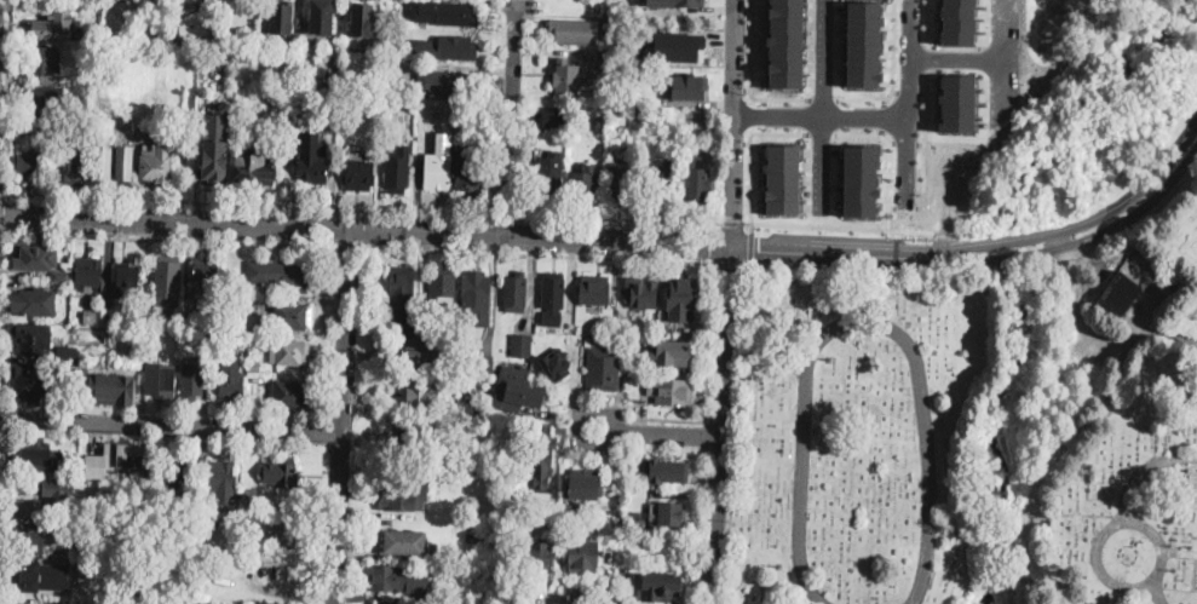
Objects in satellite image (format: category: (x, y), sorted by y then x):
building: (677, 2)
building: (341, 12)
building: (456, 15)
building: (321, 17)
building: (281, 18)
building: (362, 18)
building: (119, 19)
building: (232, 22)
building: (52, 27)
building: (574, 27)
building: (254, 36)
building: (784, 42)
building: (863, 42)
building: (454, 48)
building: (677, 52)
building: (614, 58)
building: (42, 59)
road: (956, 59)
road: (1003, 65)
building: (638, 68)
road: (892, 75)
building: (565, 76)
road: (750, 77)
building: (450, 85)
building: (387, 86)
building: (672, 87)
building: (42, 98)
building: (303, 98)
building: (386, 98)
road: (824, 98)
road: (5, 99)
road: (885, 99)
road: (907, 99)
road: (823, 104)
building: (638, 110)
road: (759, 113)
building: (556, 115)
road: (818, 116)
road: (884, 116)
road: (510, 119)
road: (731, 122)
building: (600, 123)
road: (759, 130)
road: (881, 132)
road: (823, 133)
building: (290, 134)
building: (615, 145)
building: (215, 146)
road: (890, 149)
road: (750, 153)
building: (312, 160)
building: (29, 163)
building: (103, 163)
building: (123, 163)
building: (71, 166)
building: (155, 166)
building: (253, 167)
building: (397, 171)
building: (437, 172)
building: (468, 172)
building: (548, 173)
building: (358, 176)
building: (782, 178)
building: (859, 179)
building: (621, 182)
building: (658, 182)
building: (583, 183)
building: (696, 183)
road: (249, 201)
road: (1140, 202)
road: (506, 213)
road: (618, 217)
road: (731, 220)
road: (813, 224)
road: (364, 230)
road: (167, 236)
road: (350, 246)
road: (750, 248)
road: (537, 253)
road: (897, 255)
road: (730, 263)
building: (34, 265)
road: (990, 266)
building: (88, 272)
building: (62, 275)
building: (205, 275)
building: (275, 275)
building: (126, 281)
building: (167, 281)
building: (443, 286)
building: (474, 287)
building: (594, 289)
building: (640, 292)
building: (514, 293)
building: (136, 297)
building: (402, 298)
building: (553, 298)
building: (681, 298)
building: (1117, 298)
building: (34, 301)
road: (1078, 305)
building: (96, 316)
building: (293, 316)
building: (150, 318)
building: (111, 321)
building: (189, 321)
road: (859, 322)
building: (211, 324)
building: (450, 329)
building: (211, 336)
building: (448, 340)
road: (708, 341)
building: (762, 341)
building: (42, 344)
building: (522, 345)
building: (289, 352)
building: (420, 352)
building: (672, 353)
building: (480, 363)
building: (556, 364)
building: (254, 366)
building: (603, 369)
building: (161, 381)
building: (191, 381)
building: (258, 381)
building: (28, 382)
building: (105, 385)
building: (231, 385)
building: (672, 391)
building: (289, 393)
building: (418, 396)
building: (516, 396)
building: (57, 398)
building: (465, 405)
building: (444, 408)
road: (340, 416)
road: (663, 418)
road: (169, 424)
road: (720, 425)
road: (646, 430)
park: (974, 430)
building: (415, 433)
road: (704, 436)
road: (1076, 442)
building: (93, 444)
building: (68, 448)
building: (542, 454)
building: (33, 455)
building: (119, 458)
building: (666, 471)
road: (1143, 471)
building: (281, 473)
building: (219, 476)
building: (180, 477)
building: (585, 484)
building: (39, 487)
building: (419, 493)
building: (249, 496)
building: (24, 507)
building: (668, 513)
building: (84, 514)
building: (208, 518)
building: (541, 518)
road: (1133, 520)
building: (244, 527)
road: (698, 527)
building: (144, 530)
building: (623, 531)
building: (284, 536)
building: (865, 536)
building: (35, 539)
building: (404, 542)
building: (582, 554)
building: (539, 559)
building: (82, 563)
building: (27, 574)
building: (386, 579)
building: (1030, 581)
building: (660, 587)
road: (1156, 592)
building: (441, 596)
road: (593, 596)
building: (192, 602)
building: (22, 603)
building: (98, 603)
building: (271, 603)

